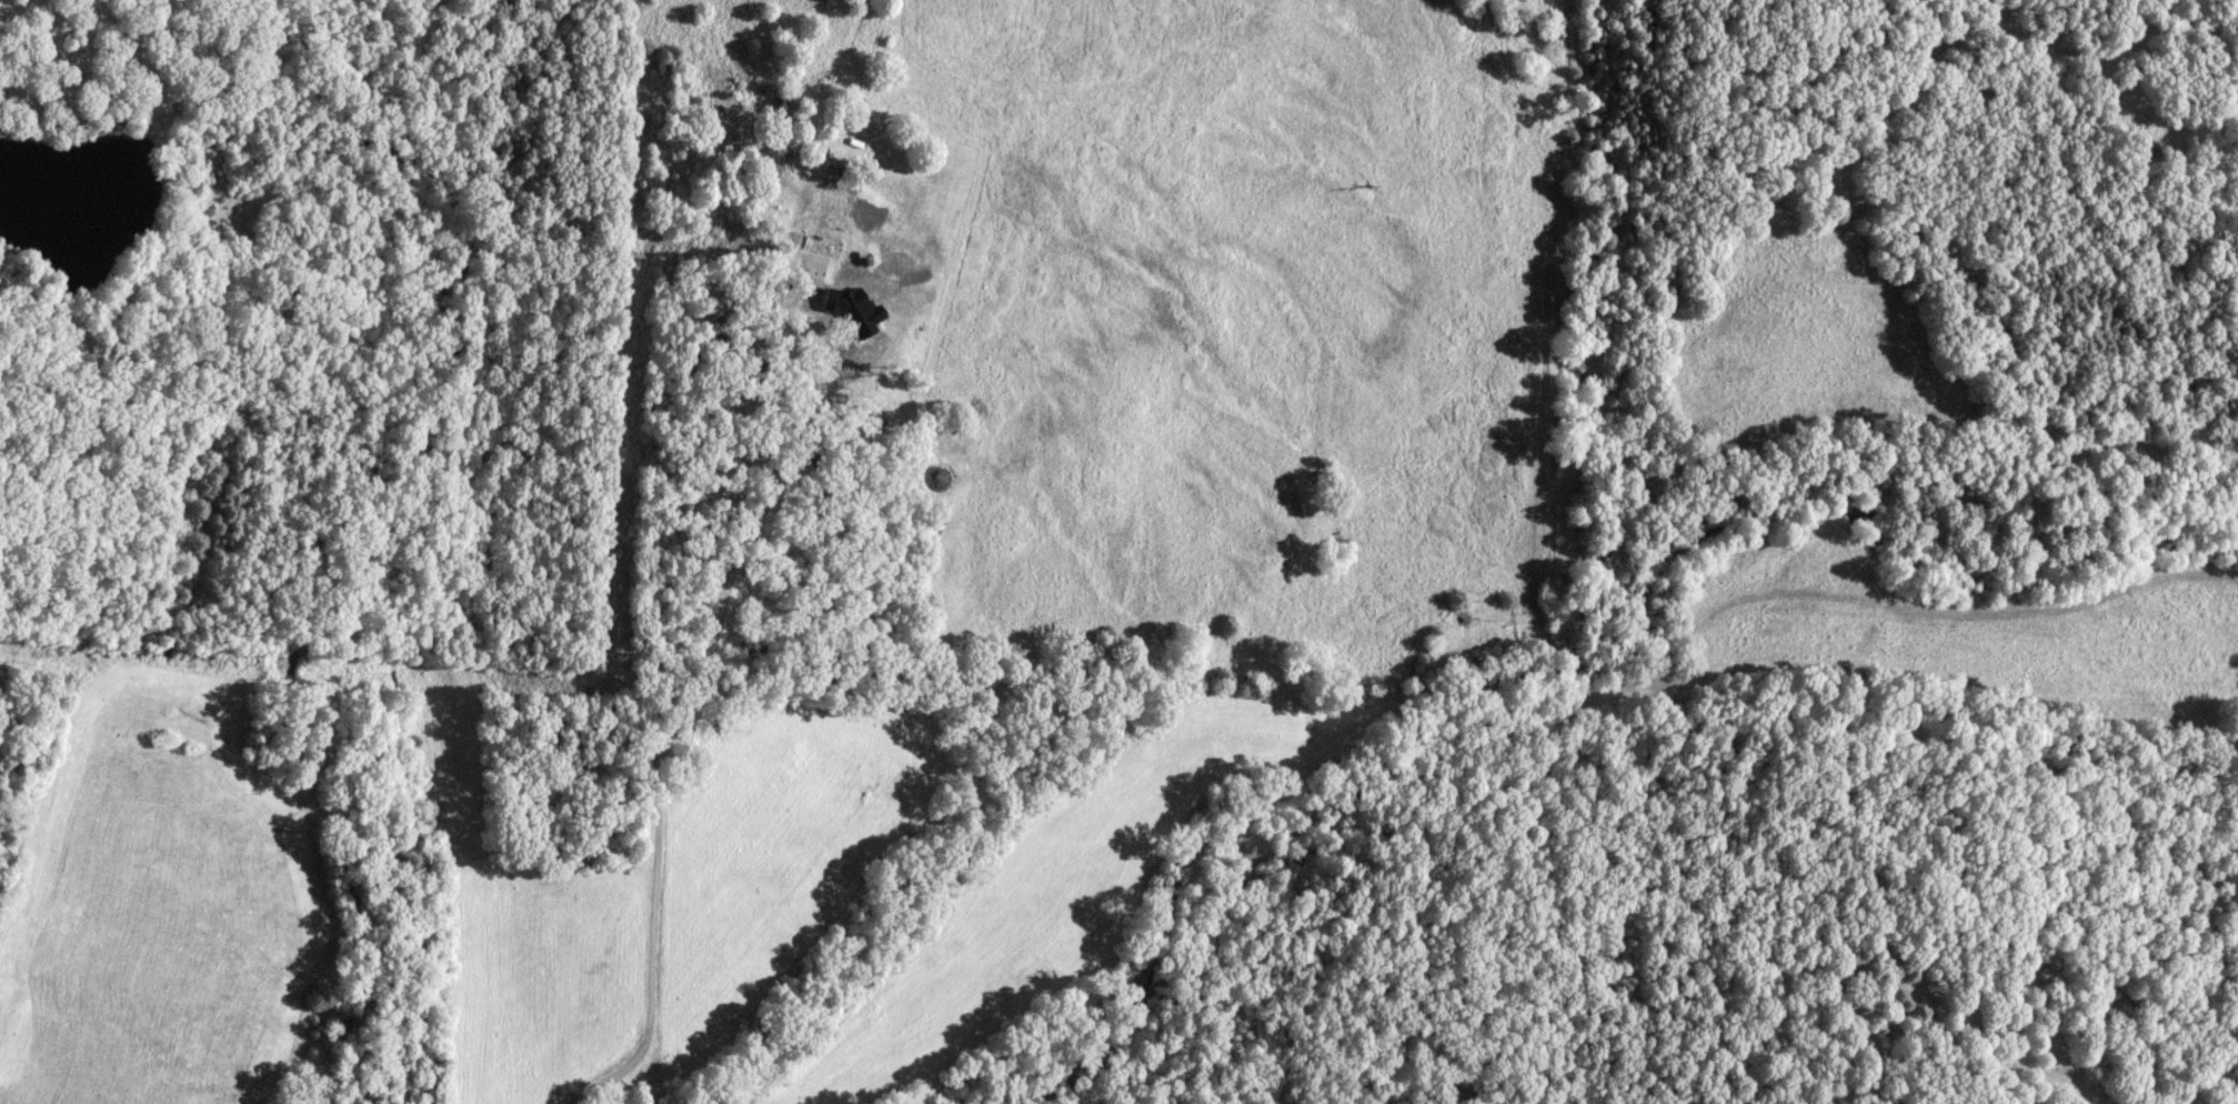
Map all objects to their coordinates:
building: (830, 222)
road: (791, 320)
road: (1953, 613)
road: (655, 831)

